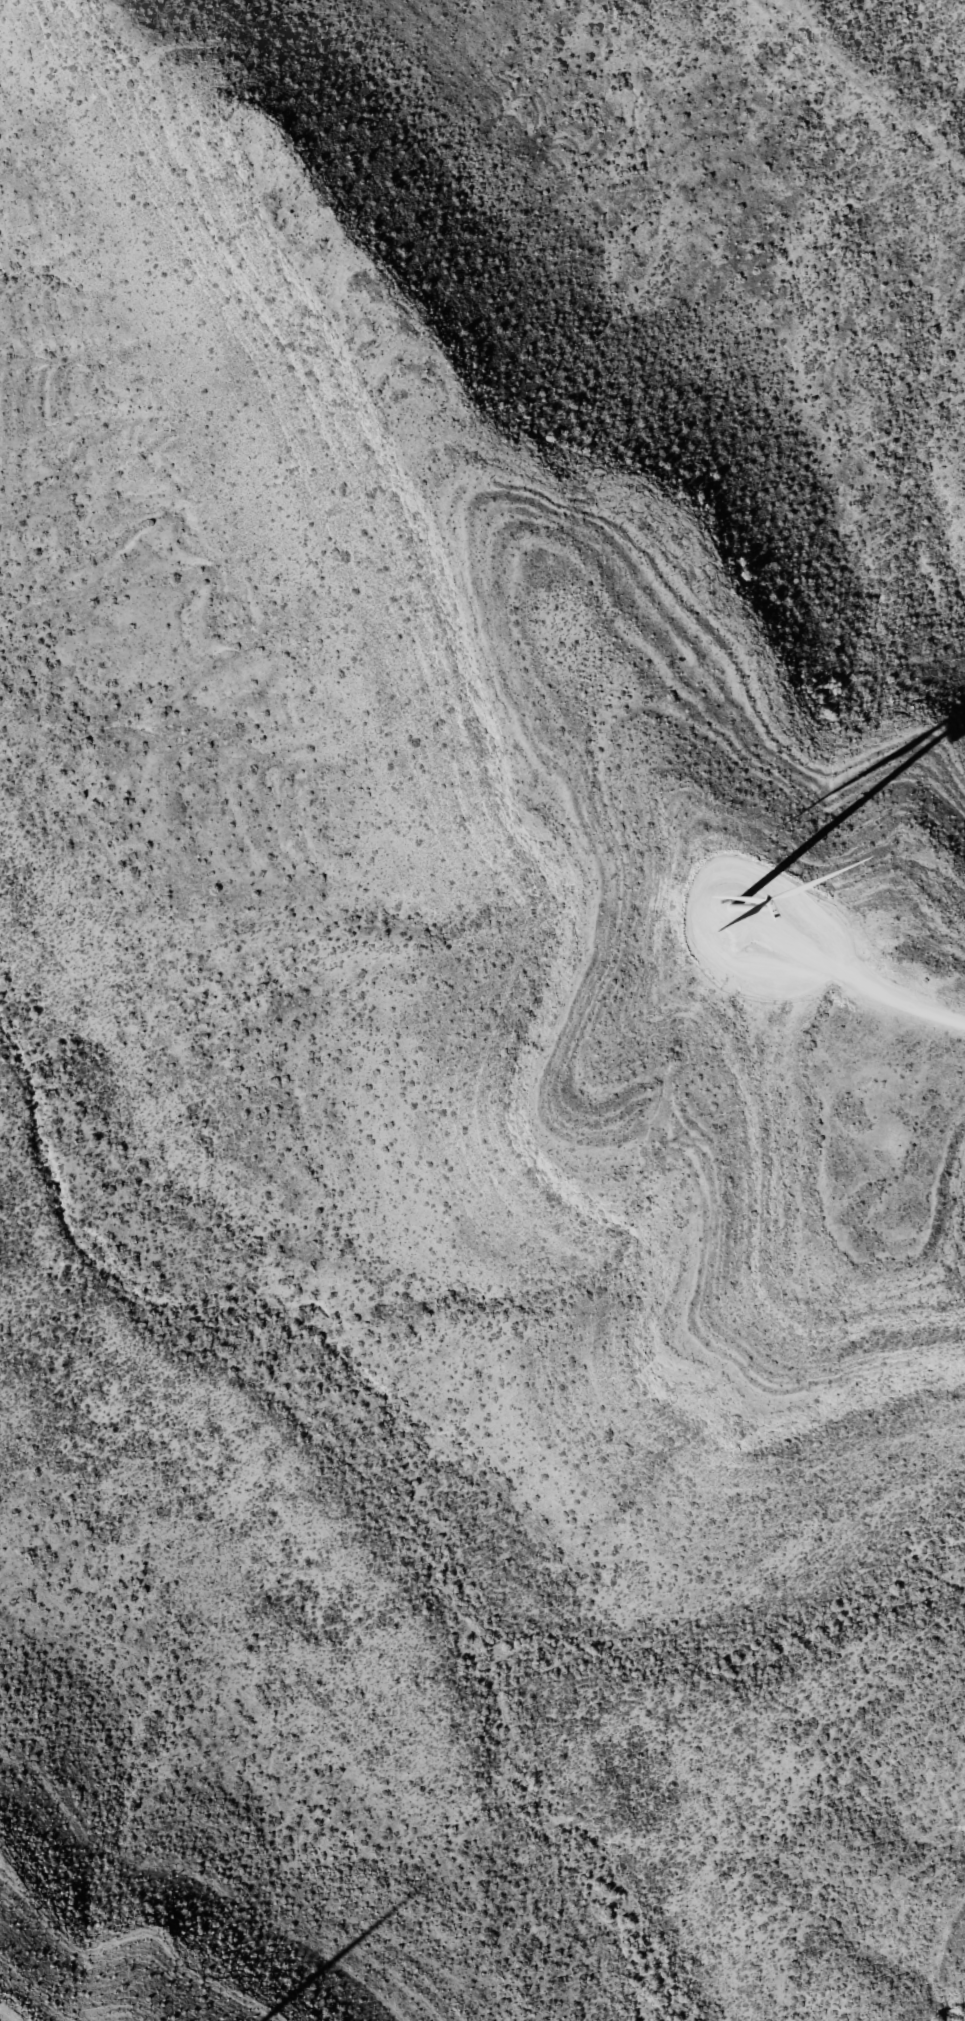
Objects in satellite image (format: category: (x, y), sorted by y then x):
wind turbine: (733, 907)

